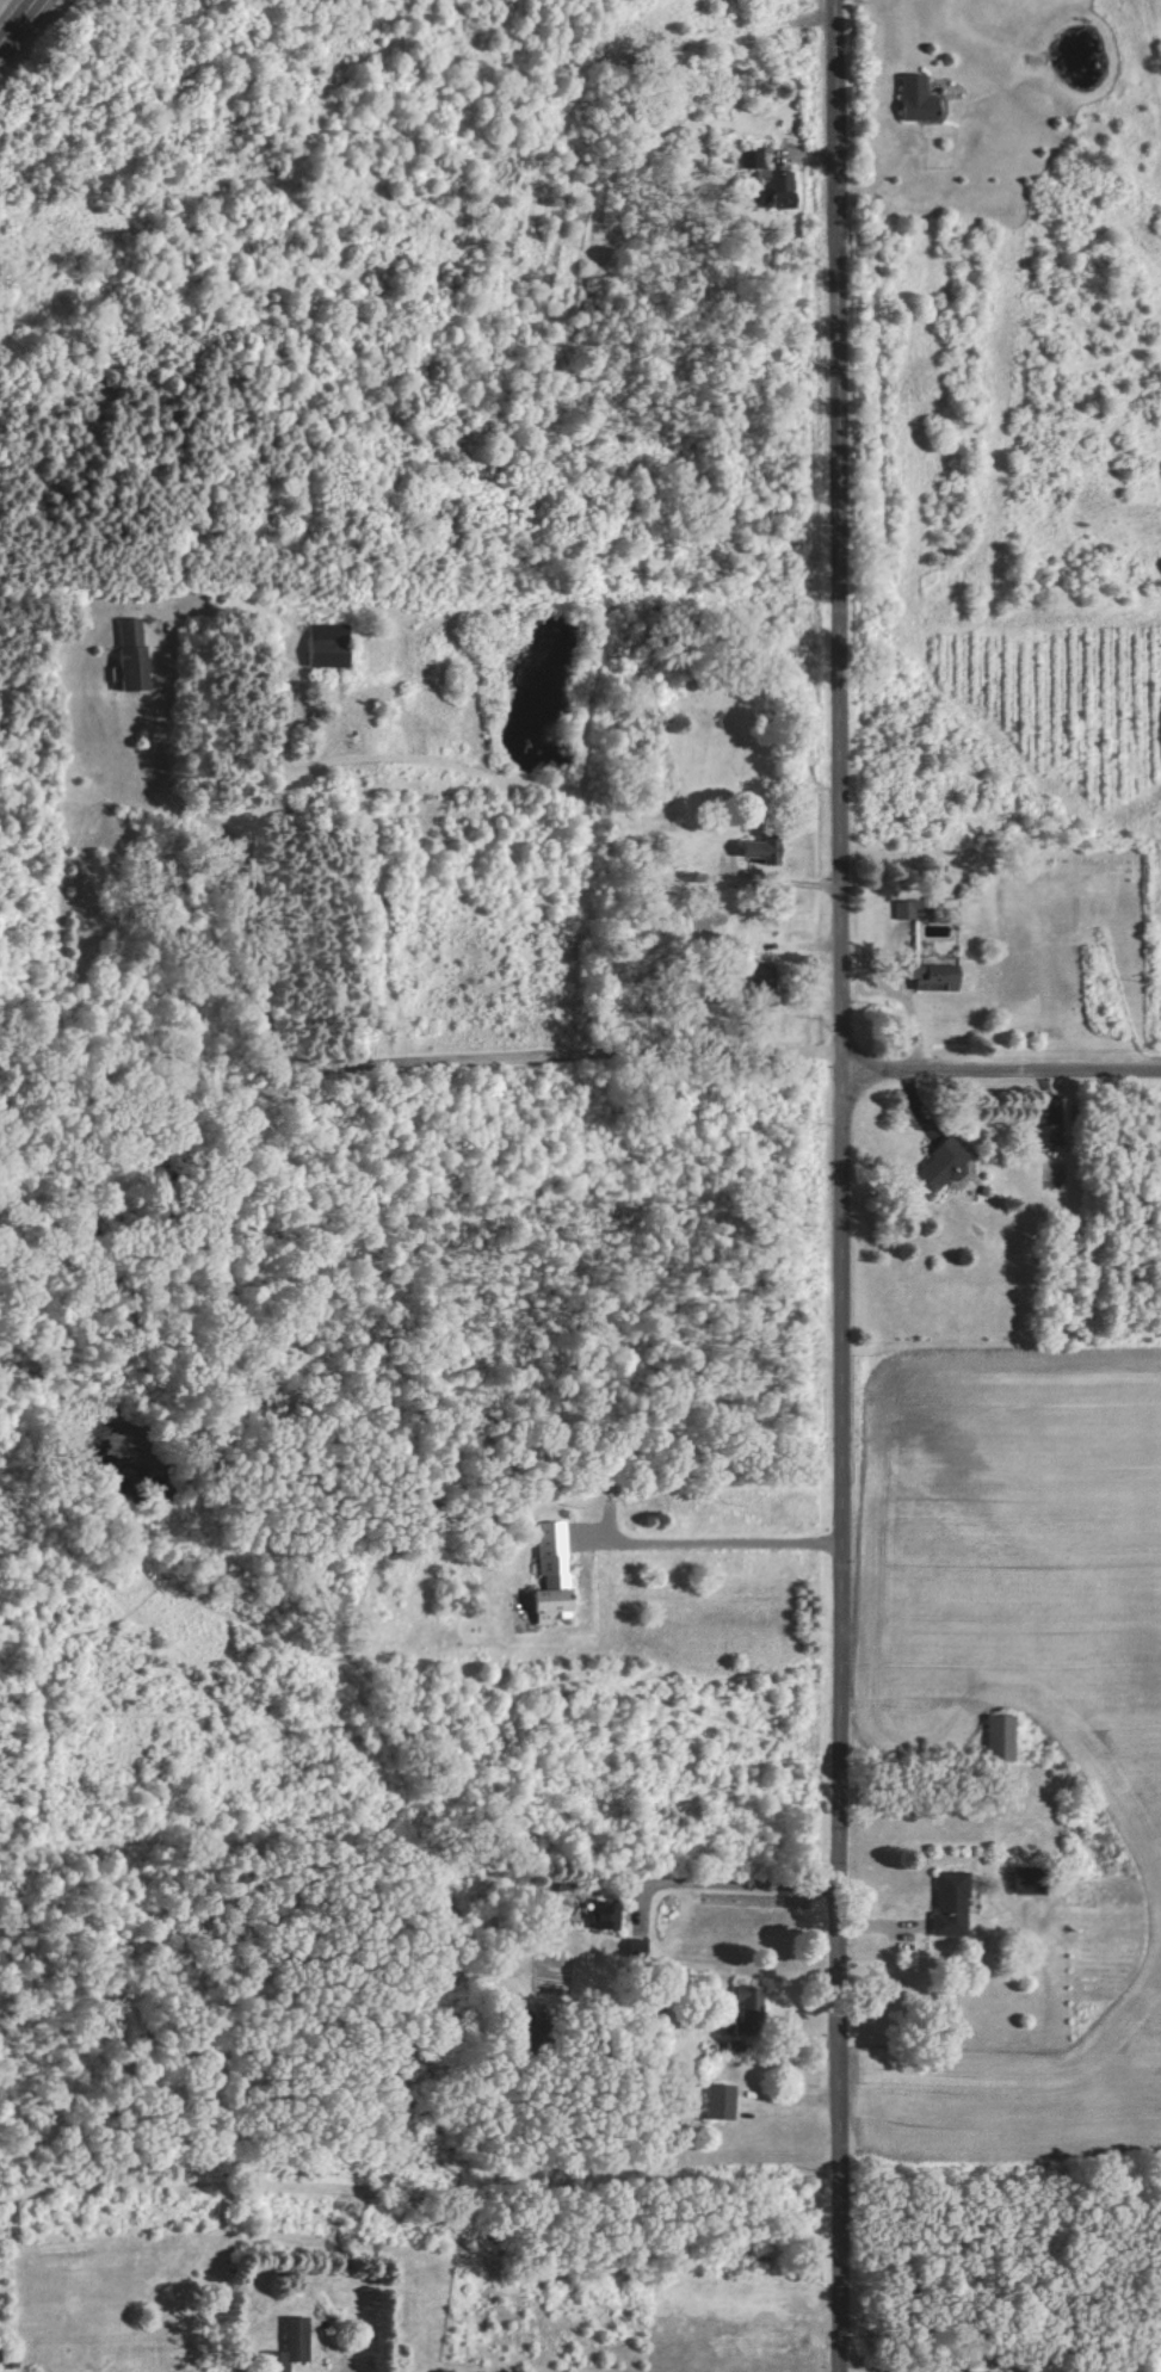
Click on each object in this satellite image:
road: (18, 23)
road: (907, 27)
building: (910, 99)
building: (749, 159)
building: (778, 183)
building: (322, 647)
building: (125, 655)
road: (280, 772)
building: (752, 851)
building: (901, 910)
road: (334, 1050)
road: (1002, 1070)
building: (1048, 1139)
building: (940, 1167)
road: (842, 1185)
road: (731, 1540)
building: (546, 1575)
building: (996, 1738)
road: (737, 1882)
building: (946, 1905)
building: (600, 1916)
building: (631, 1948)
building: (745, 1999)
building: (717, 2102)
building: (288, 2346)

